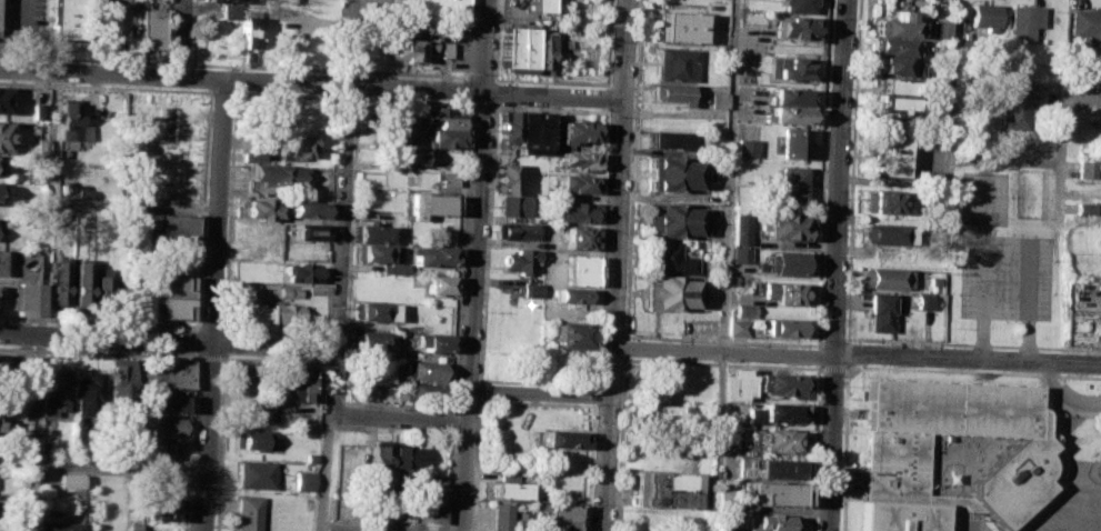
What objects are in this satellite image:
building: (123, 0)
building: (223, 0)
parking lot: (384, 2)
building: (538, 4)
building: (798, 6)
building: (434, 7)
building: (229, 10)
building: (985, 17)
building: (66, 18)
building: (1024, 21)
parking lot: (22, 22)
building: (1090, 23)
building: (411, 26)
building: (677, 26)
building: (897, 26)
building: (452, 27)
building: (146, 28)
building: (247, 28)
building: (797, 28)
building: (941, 29)
road: (163, 30)
road: (179, 38)
road: (466, 39)
road: (494, 41)
road: (608, 43)
building: (897, 46)
building: (516, 47)
building: (443, 49)
building: (407, 50)
building: (543, 52)
road: (82, 58)
road: (176, 61)
road: (189, 62)
building: (678, 63)
road: (232, 64)
building: (902, 66)
building: (792, 68)
road: (346, 70)
road: (409, 72)
road: (478, 77)
road: (548, 81)
road: (310, 84)
road: (103, 86)
building: (898, 86)
road: (464, 89)
road: (219, 91)
building: (672, 91)
road: (492, 92)
road: (283, 94)
building: (792, 94)
road: (344, 98)
road: (605, 98)
building: (718, 99)
road: (1084, 99)
building: (3, 100)
road: (408, 100)
building: (1015, 103)
building: (897, 104)
road: (549, 109)
road: (952, 109)
building: (789, 116)
building: (935, 116)
building: (67, 117)
building: (390, 118)
building: (440, 118)
building: (503, 126)
building: (578, 131)
road: (1062, 131)
building: (531, 132)
building: (1, 134)
building: (392, 136)
building: (440, 138)
building: (672, 139)
building: (795, 142)
building: (294, 144)
building: (747, 147)
building: (404, 154)
building: (887, 154)
building: (251, 156)
building: (579, 159)
road: (1005, 160)
building: (1089, 168)
road: (631, 169)
road: (853, 170)
road: (342, 172)
building: (670, 172)
road: (823, 173)
building: (278, 176)
building: (444, 178)
building: (502, 178)
building: (578, 182)
building: (793, 183)
road: (1060, 191)
parking lot: (987, 198)
building: (887, 201)
road: (46, 202)
building: (427, 203)
building: (513, 203)
road: (133, 207)
building: (304, 208)
building: (1088, 208)
building: (254, 209)
building: (573, 210)
road: (329, 216)
building: (56, 220)
building: (671, 220)
building: (173, 224)
building: (785, 226)
building: (741, 228)
building: (307, 230)
road: (348, 230)
building: (517, 230)
building: (370, 232)
building: (887, 233)
road: (727, 236)
building: (580, 237)
road: (486, 243)
road: (599, 247)
building: (369, 251)
building: (431, 254)
building: (741, 254)
road: (458, 256)
building: (521, 258)
building: (670, 259)
building: (0, 260)
road: (984, 260)
building: (785, 262)
building: (390, 264)
road: (472, 264)
road: (614, 264)
road: (837, 264)
building: (574, 268)
building: (300, 270)
parking lot: (1007, 275)
building: (888, 277)
building: (79, 280)
building: (934, 280)
road: (1029, 280)
building: (56, 282)
building: (437, 282)
building: (100, 285)
building: (530, 289)
building: (287, 291)
building: (668, 292)
building: (785, 292)
building: (574, 294)
building: (166, 297)
building: (23, 298)
building: (923, 301)
road: (214, 305)
building: (744, 309)
building: (370, 310)
building: (880, 310)
building: (288, 313)
building: (249, 314)
road: (100, 321)
road: (210, 325)
building: (784, 325)
building: (738, 327)
road: (271, 328)
building: (568, 333)
road: (168, 337)
building: (367, 339)
road: (722, 339)
road: (833, 341)
building: (431, 342)
road: (972, 343)
road: (321, 345)
road: (624, 347)
road: (99, 352)
road: (817, 355)
road: (855, 355)
road: (209, 357)
road: (597, 358)
road: (609, 358)
road: (271, 359)
road: (321, 359)
road: (332, 362)
road: (721, 362)
building: (24, 363)
road: (845, 367)
building: (423, 370)
road: (973, 371)
building: (164, 372)
building: (239, 378)
road: (333, 378)
building: (120, 379)
road: (537, 382)
building: (737, 383)
building: (779, 383)
building: (303, 385)
road: (479, 390)
building: (51, 391)
building: (87, 392)
building: (420, 392)
road: (538, 393)
road: (593, 394)
road: (1064, 394)
parking lot: (1077, 395)
building: (166, 402)
road: (533, 402)
road: (377, 403)
road: (464, 404)
building: (261, 410)
building: (660, 412)
building: (774, 412)
road: (399, 415)
road: (451, 421)
building: (168, 424)
road: (439, 430)
road: (34, 431)
building: (250, 438)
building: (561, 438)
building: (780, 439)
road: (191, 443)
road: (620, 443)
road: (219, 444)
road: (813, 447)
road: (843, 449)
building: (42, 450)
building: (172, 450)
building: (378, 457)
building: (895, 458)
building: (403, 460)
building: (307, 462)
road: (476, 464)
road: (590, 467)
road: (119, 468)
building: (774, 468)
road: (324, 470)
building: (253, 473)
building: (68, 480)
building: (302, 480)
building: (154, 481)
building: (512, 489)
building: (664, 489)
building: (764, 491)
building: (20, 497)
building: (433, 499)
building: (164, 509)
building: (563, 511)
building: (247, 512)
building: (502, 517)
building: (765, 521)
building: (56, 523)
building: (562, 524)
building: (131, 527)
building: (17, 529)
building: (383, 530)

